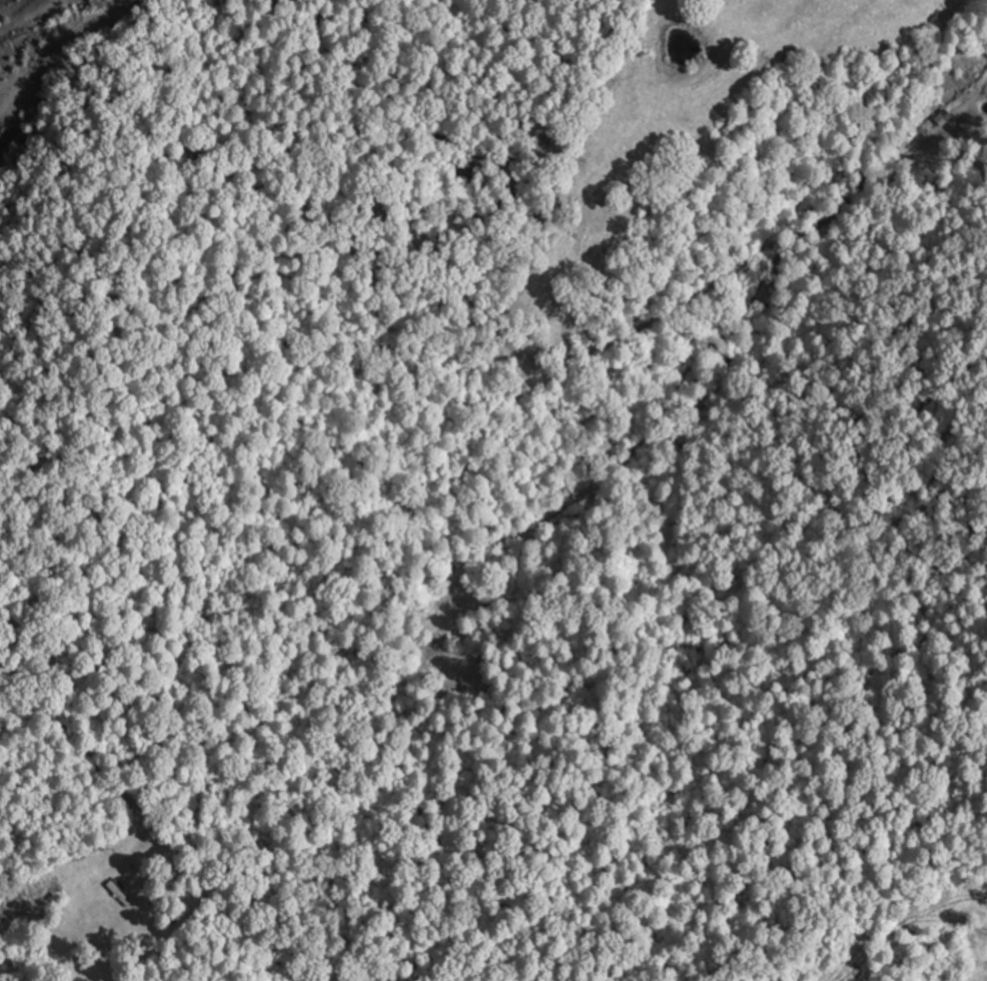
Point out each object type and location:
building: (121, 892)

